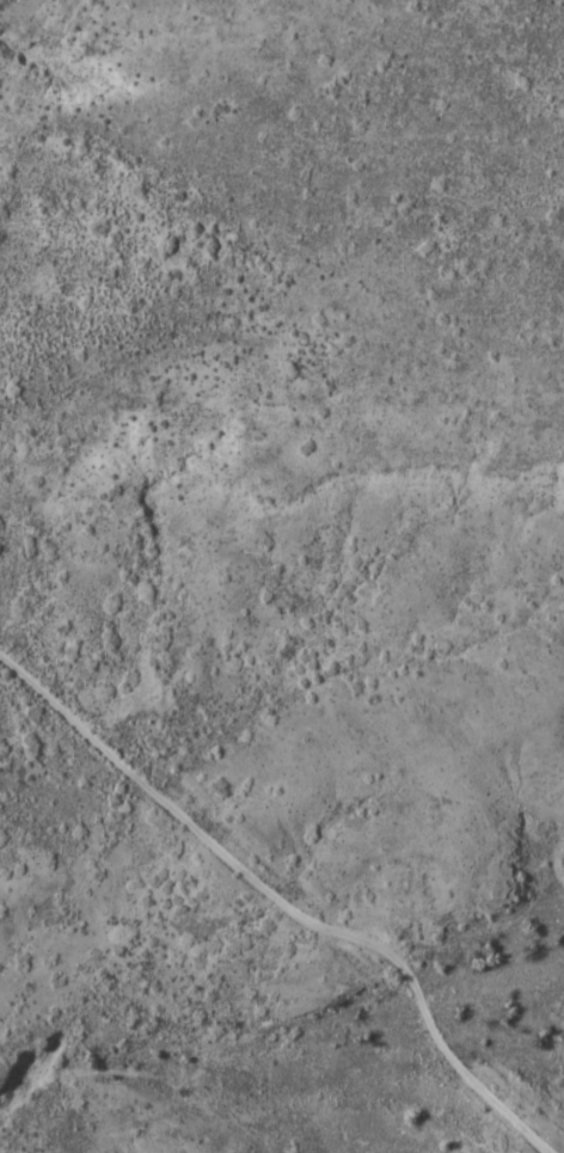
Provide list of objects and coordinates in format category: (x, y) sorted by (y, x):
road: (282, 883)

